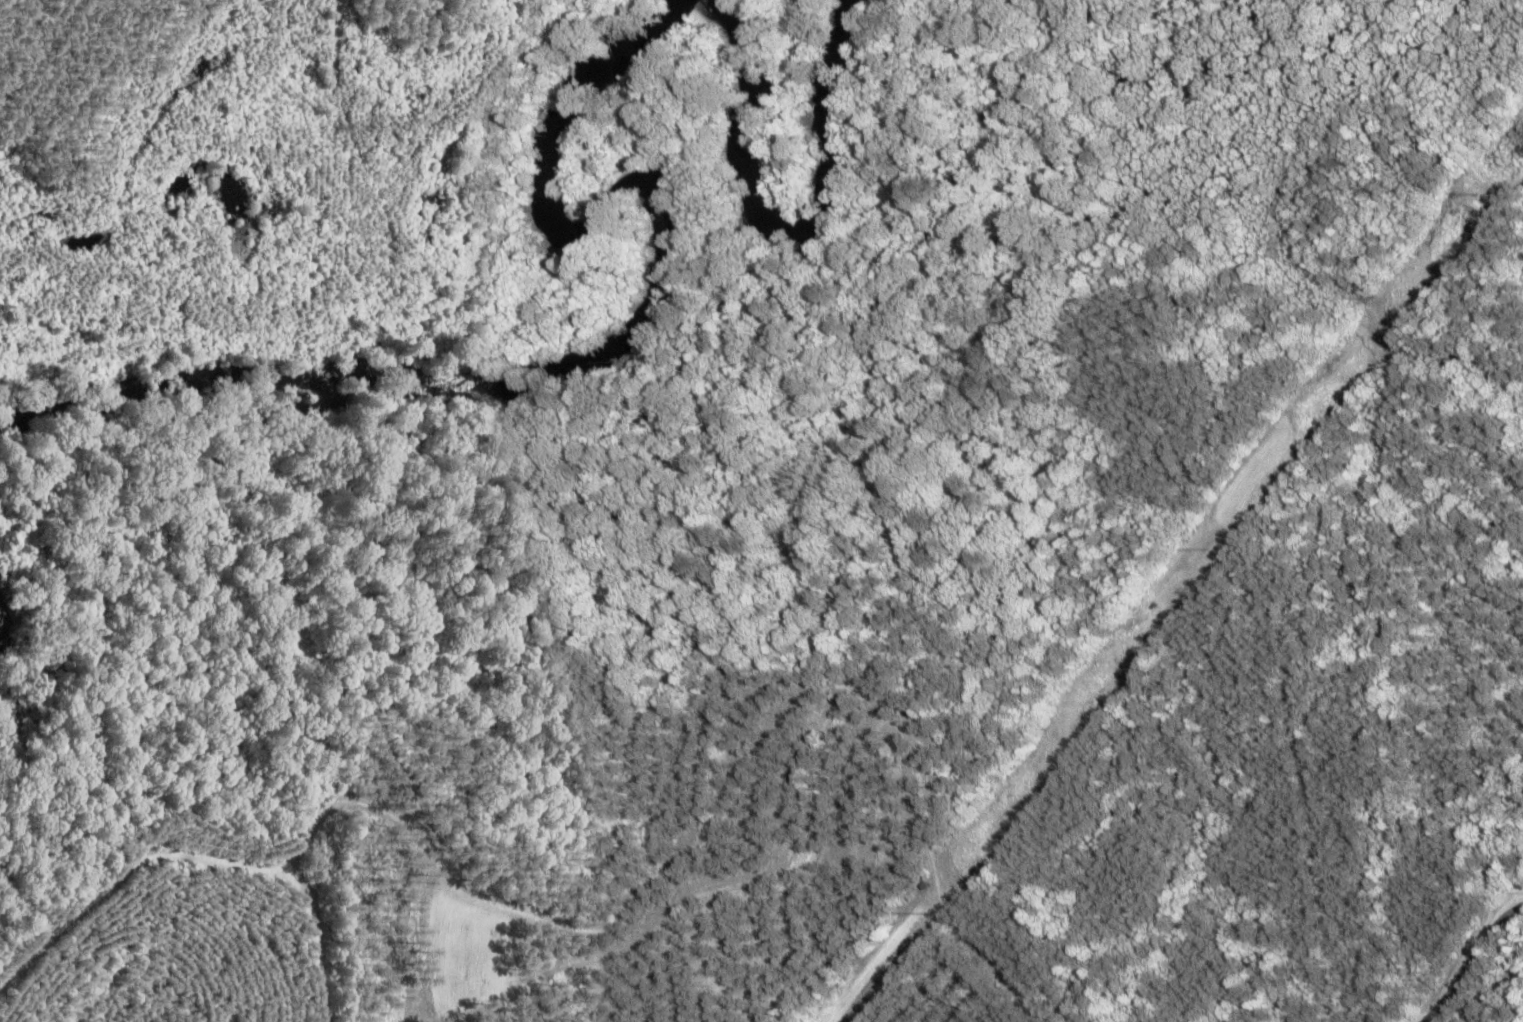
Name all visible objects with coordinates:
river: (789, 230)
river: (598, 343)

